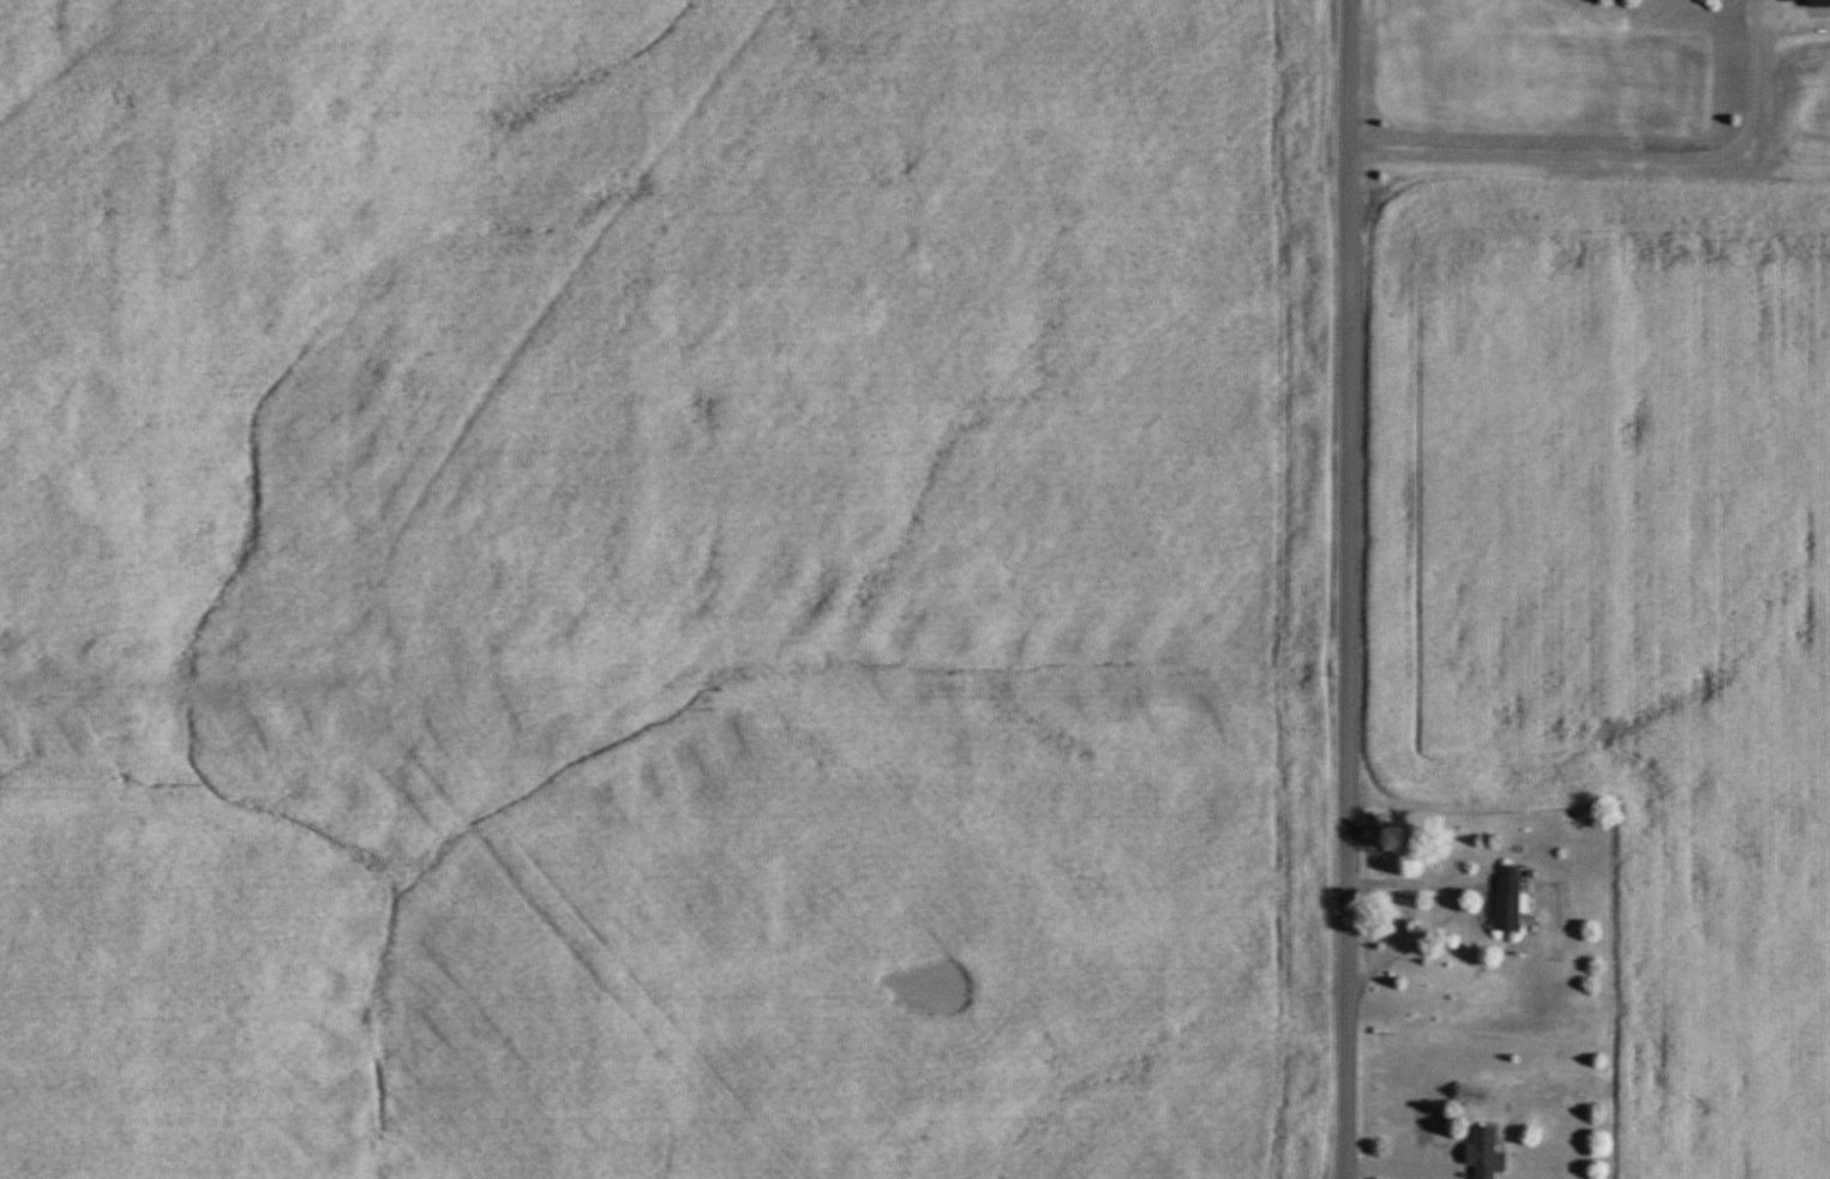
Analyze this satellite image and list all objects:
road: (1619, 157)
road: (1343, 589)
road: (1408, 872)
building: (1507, 900)
road: (1411, 934)
building: (1483, 1153)
road: (1406, 1159)

